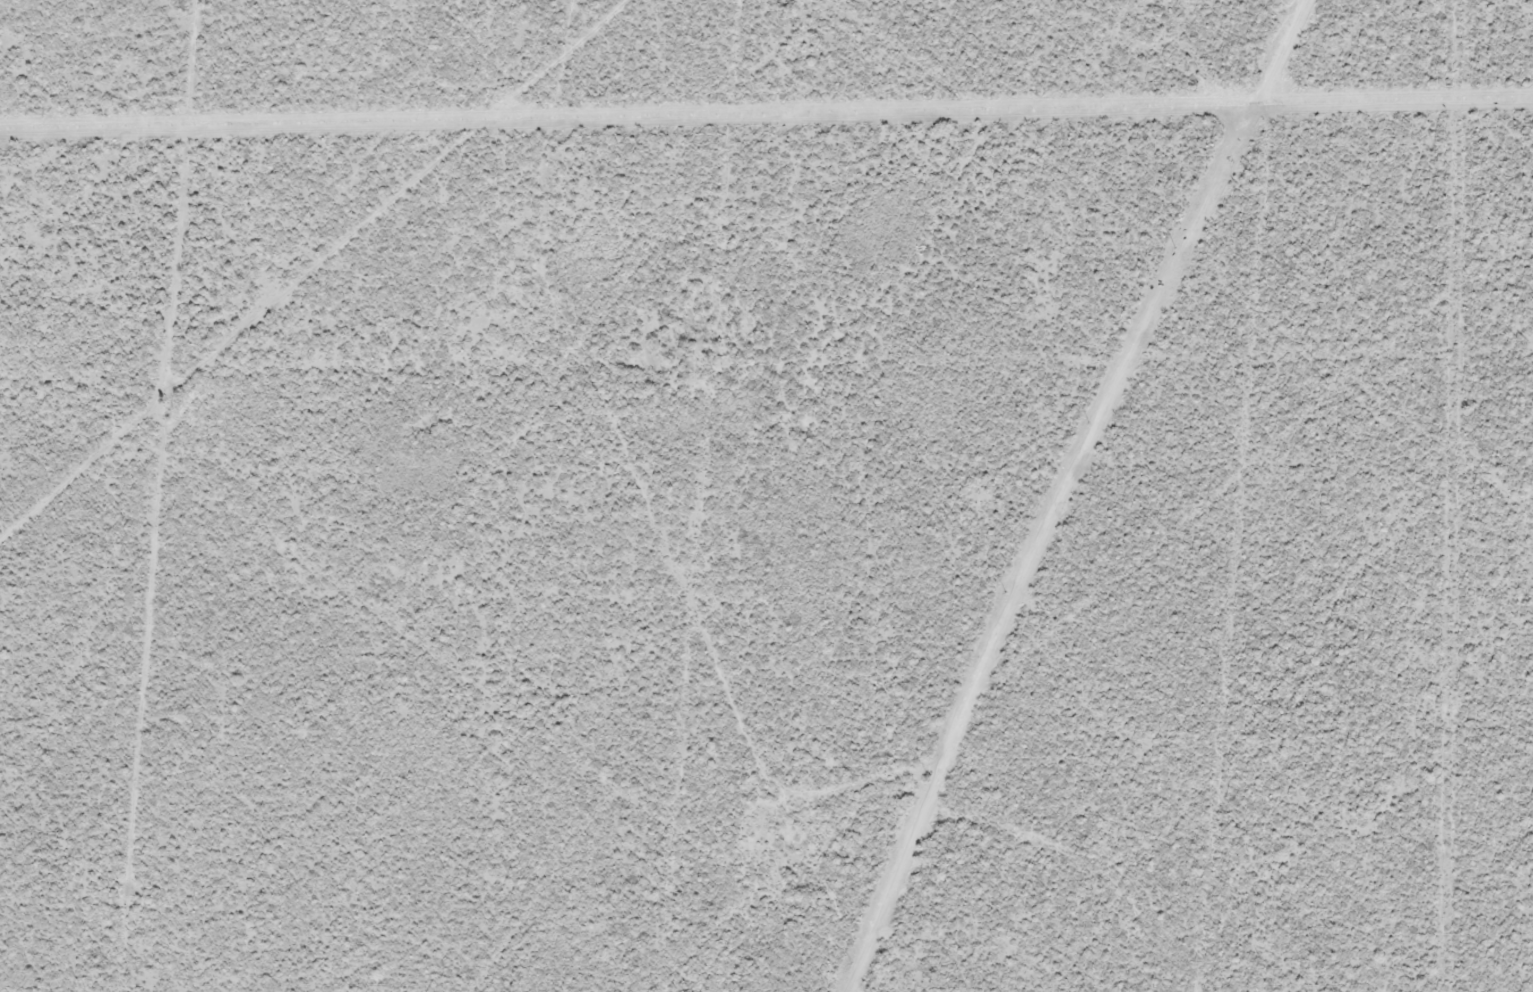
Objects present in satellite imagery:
road: (1086, 490)

